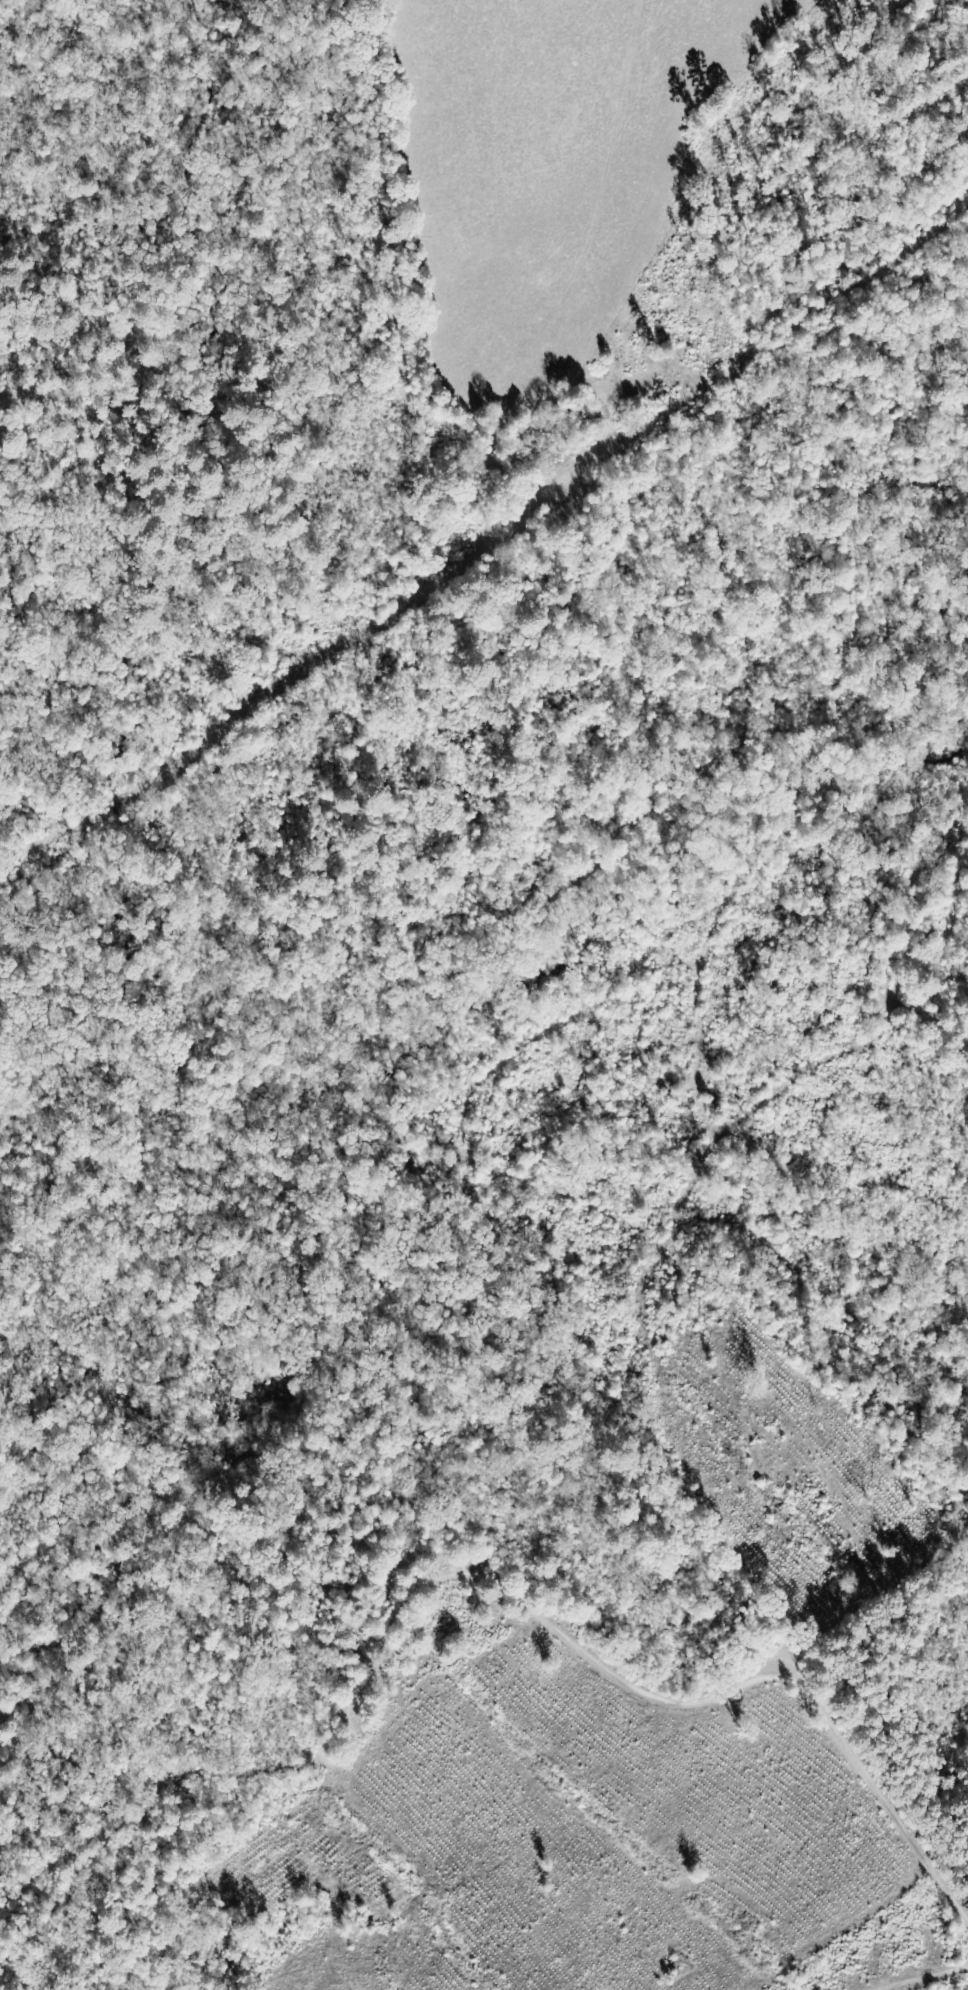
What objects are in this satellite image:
road: (842, 1615)
road: (785, 1779)

